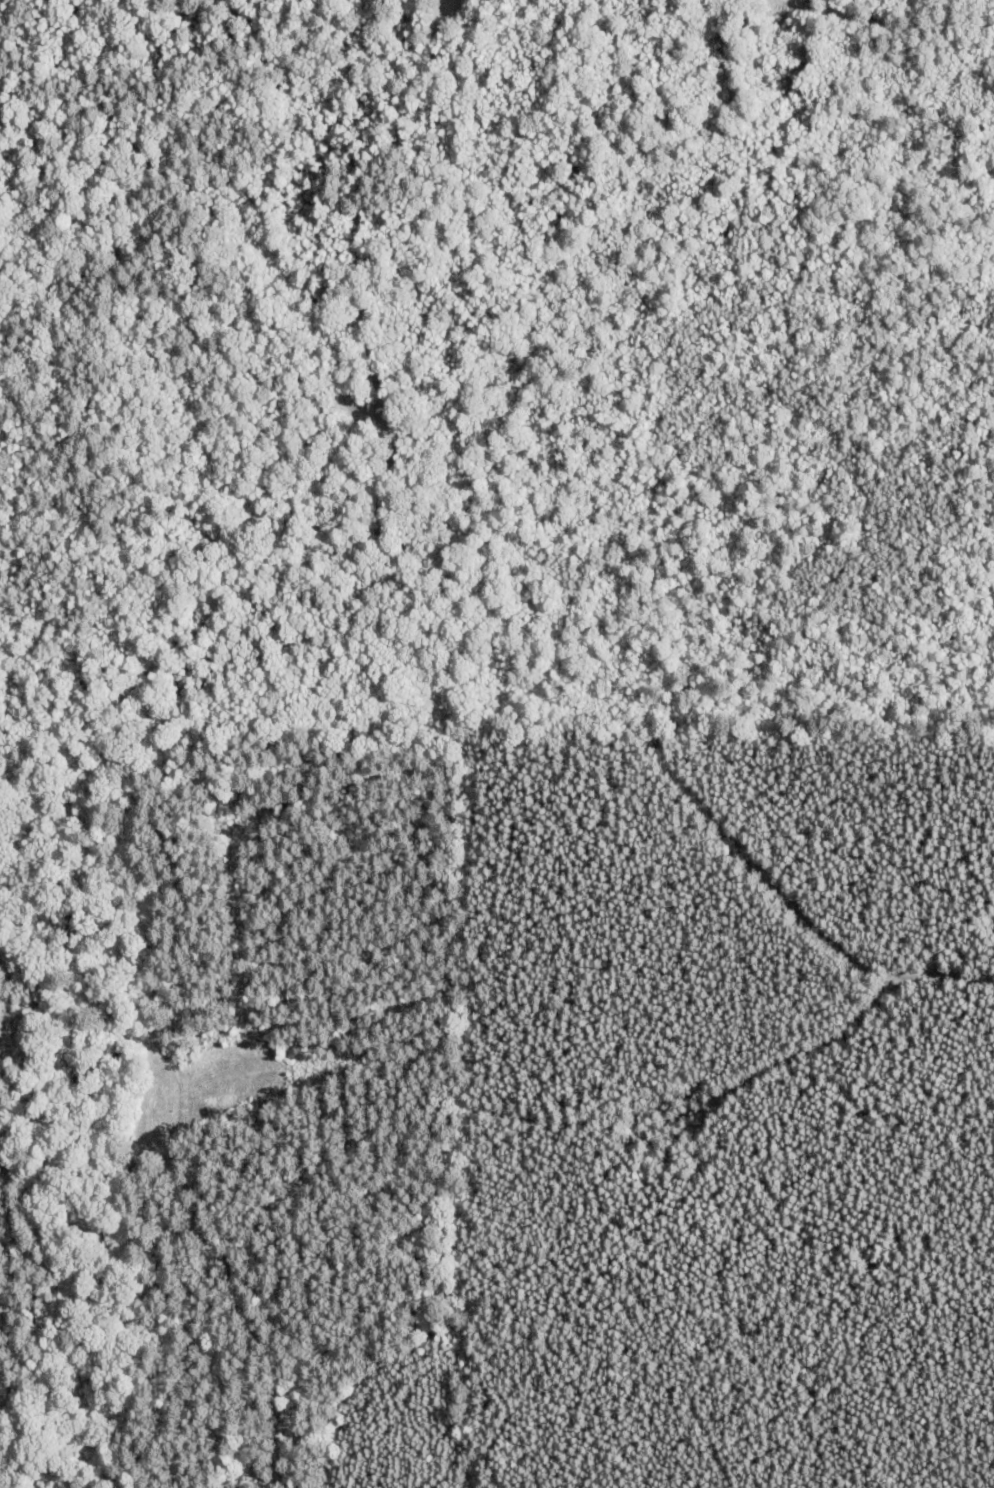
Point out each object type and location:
road: (899, 17)

